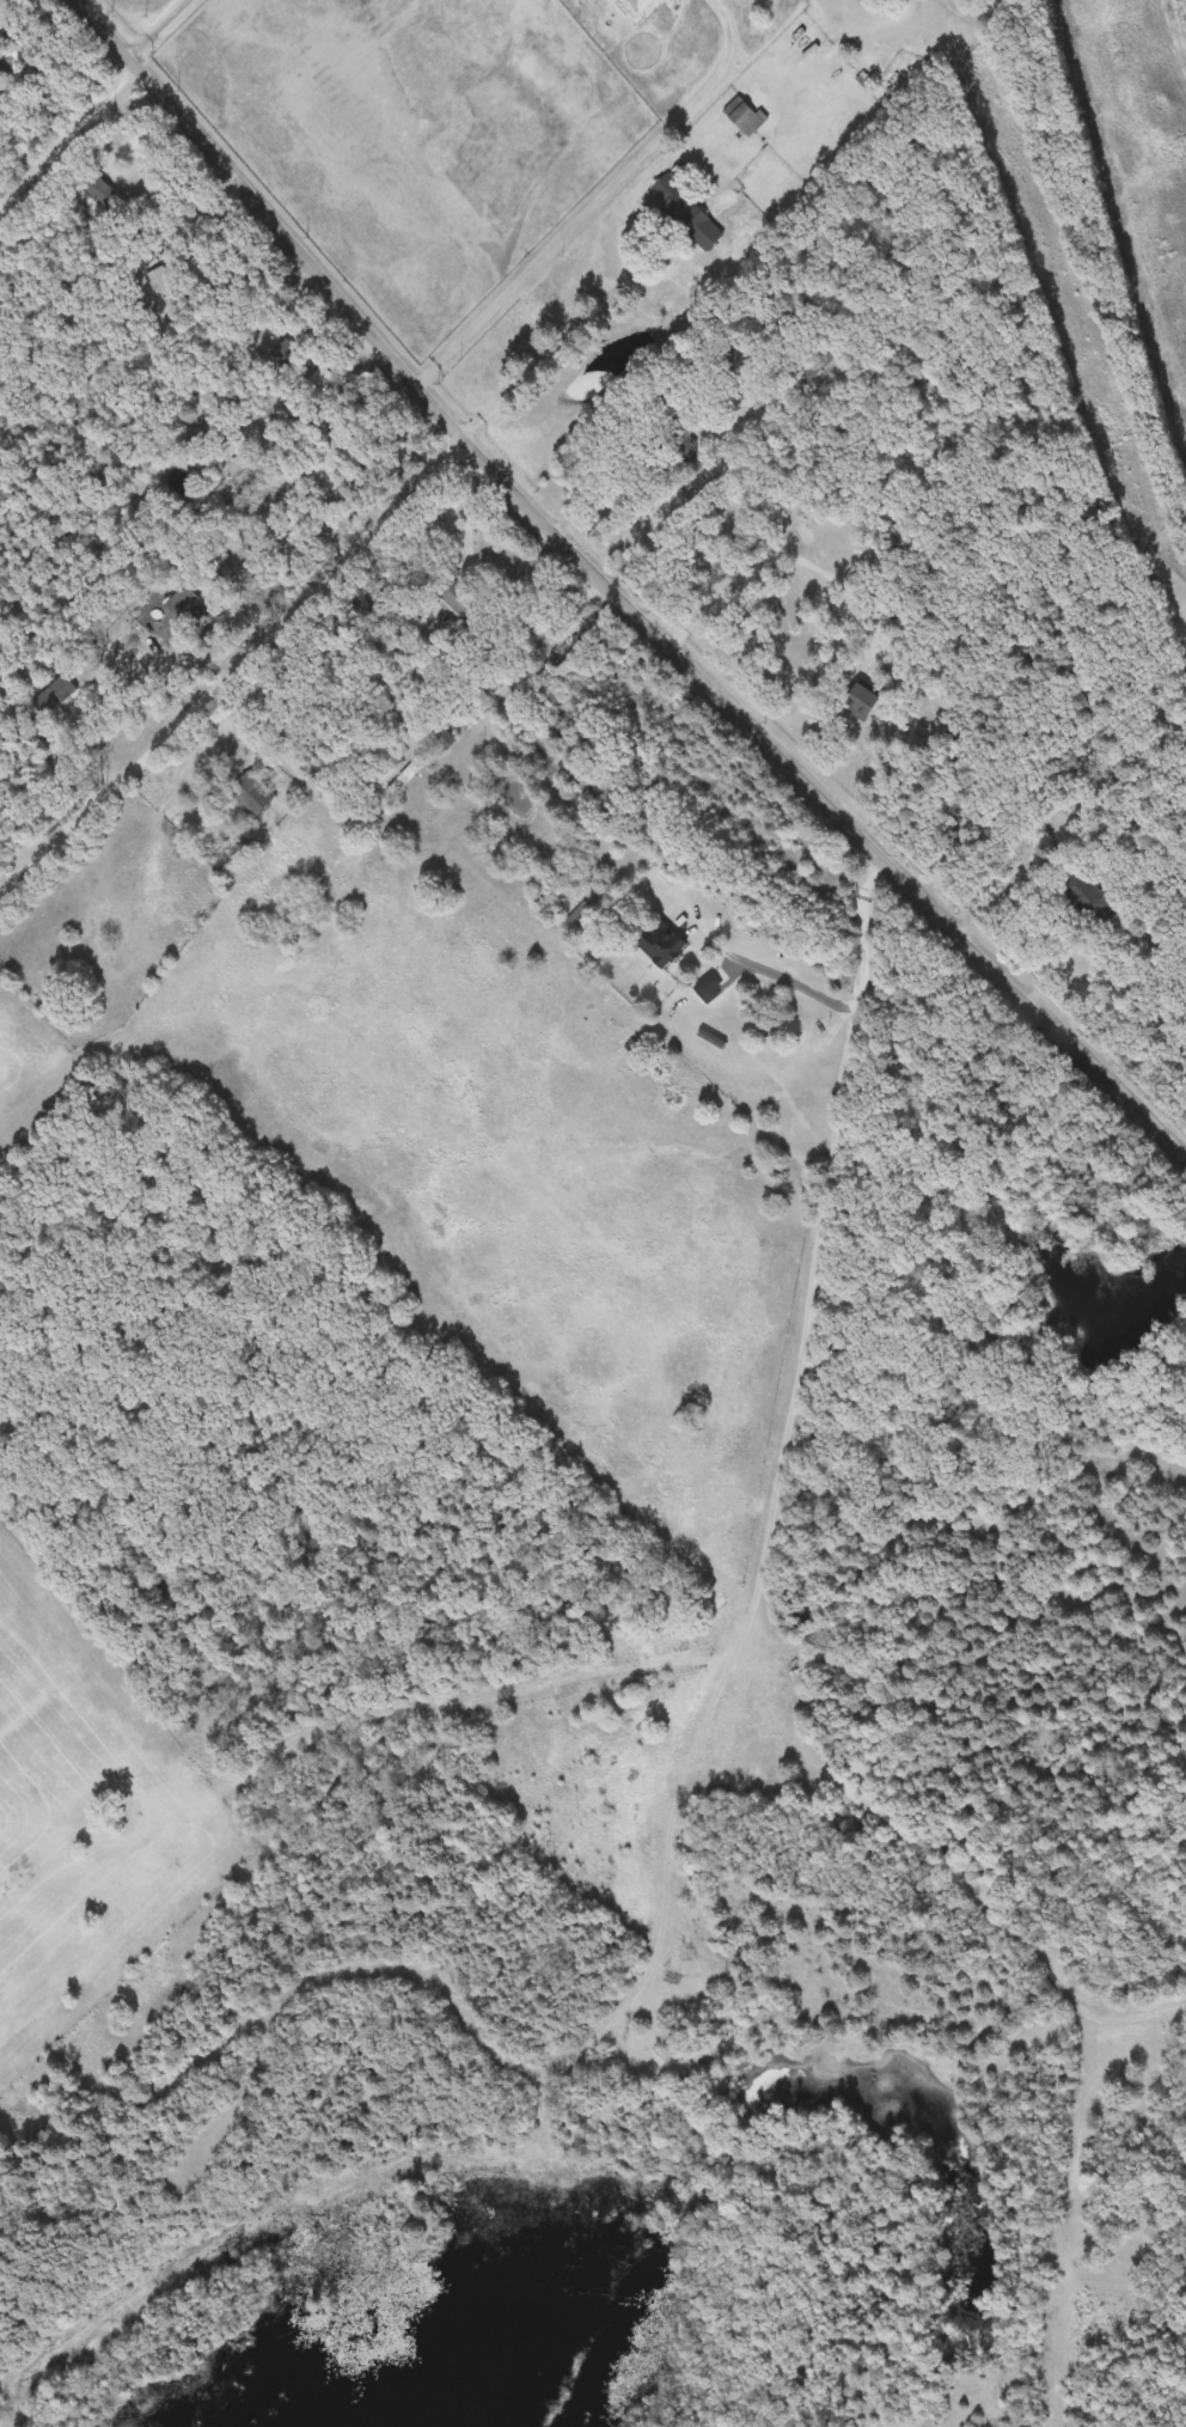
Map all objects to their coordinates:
building: (641, 5)
road: (166, 30)
building: (16, 55)
building: (4, 78)
building: (744, 117)
road: (69, 138)
building: (102, 196)
road: (599, 199)
building: (687, 213)
building: (159, 283)
road: (577, 327)
building: (291, 359)
building: (819, 364)
building: (320, 383)
building: (687, 444)
road: (472, 518)
road: (784, 557)
road: (617, 594)
building: (454, 598)
building: (181, 602)
road: (234, 667)
building: (54, 696)
building: (858, 703)
building: (441, 736)
building: (405, 780)
building: (251, 794)
building: (1090, 896)
building: (660, 944)
road: (869, 983)

